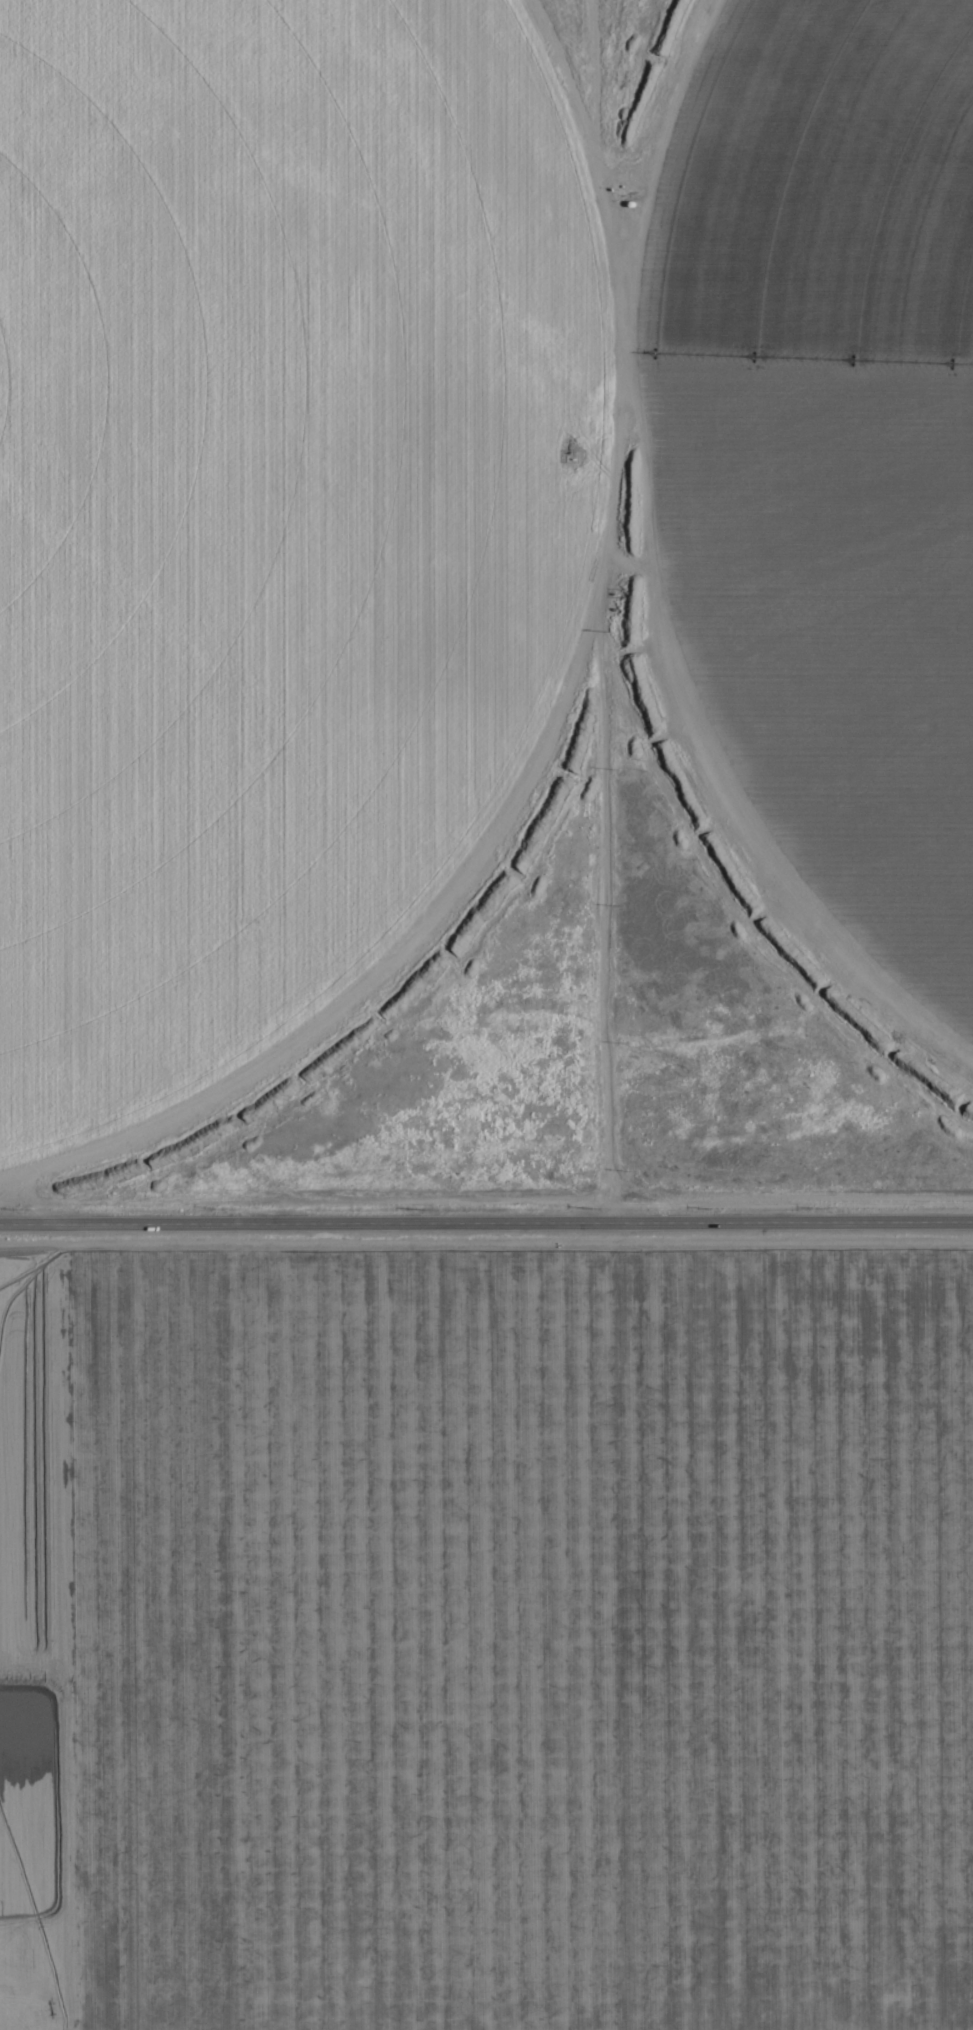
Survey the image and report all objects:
crop: (455, 508)
road: (486, 1225)
crop: (486, 1624)

